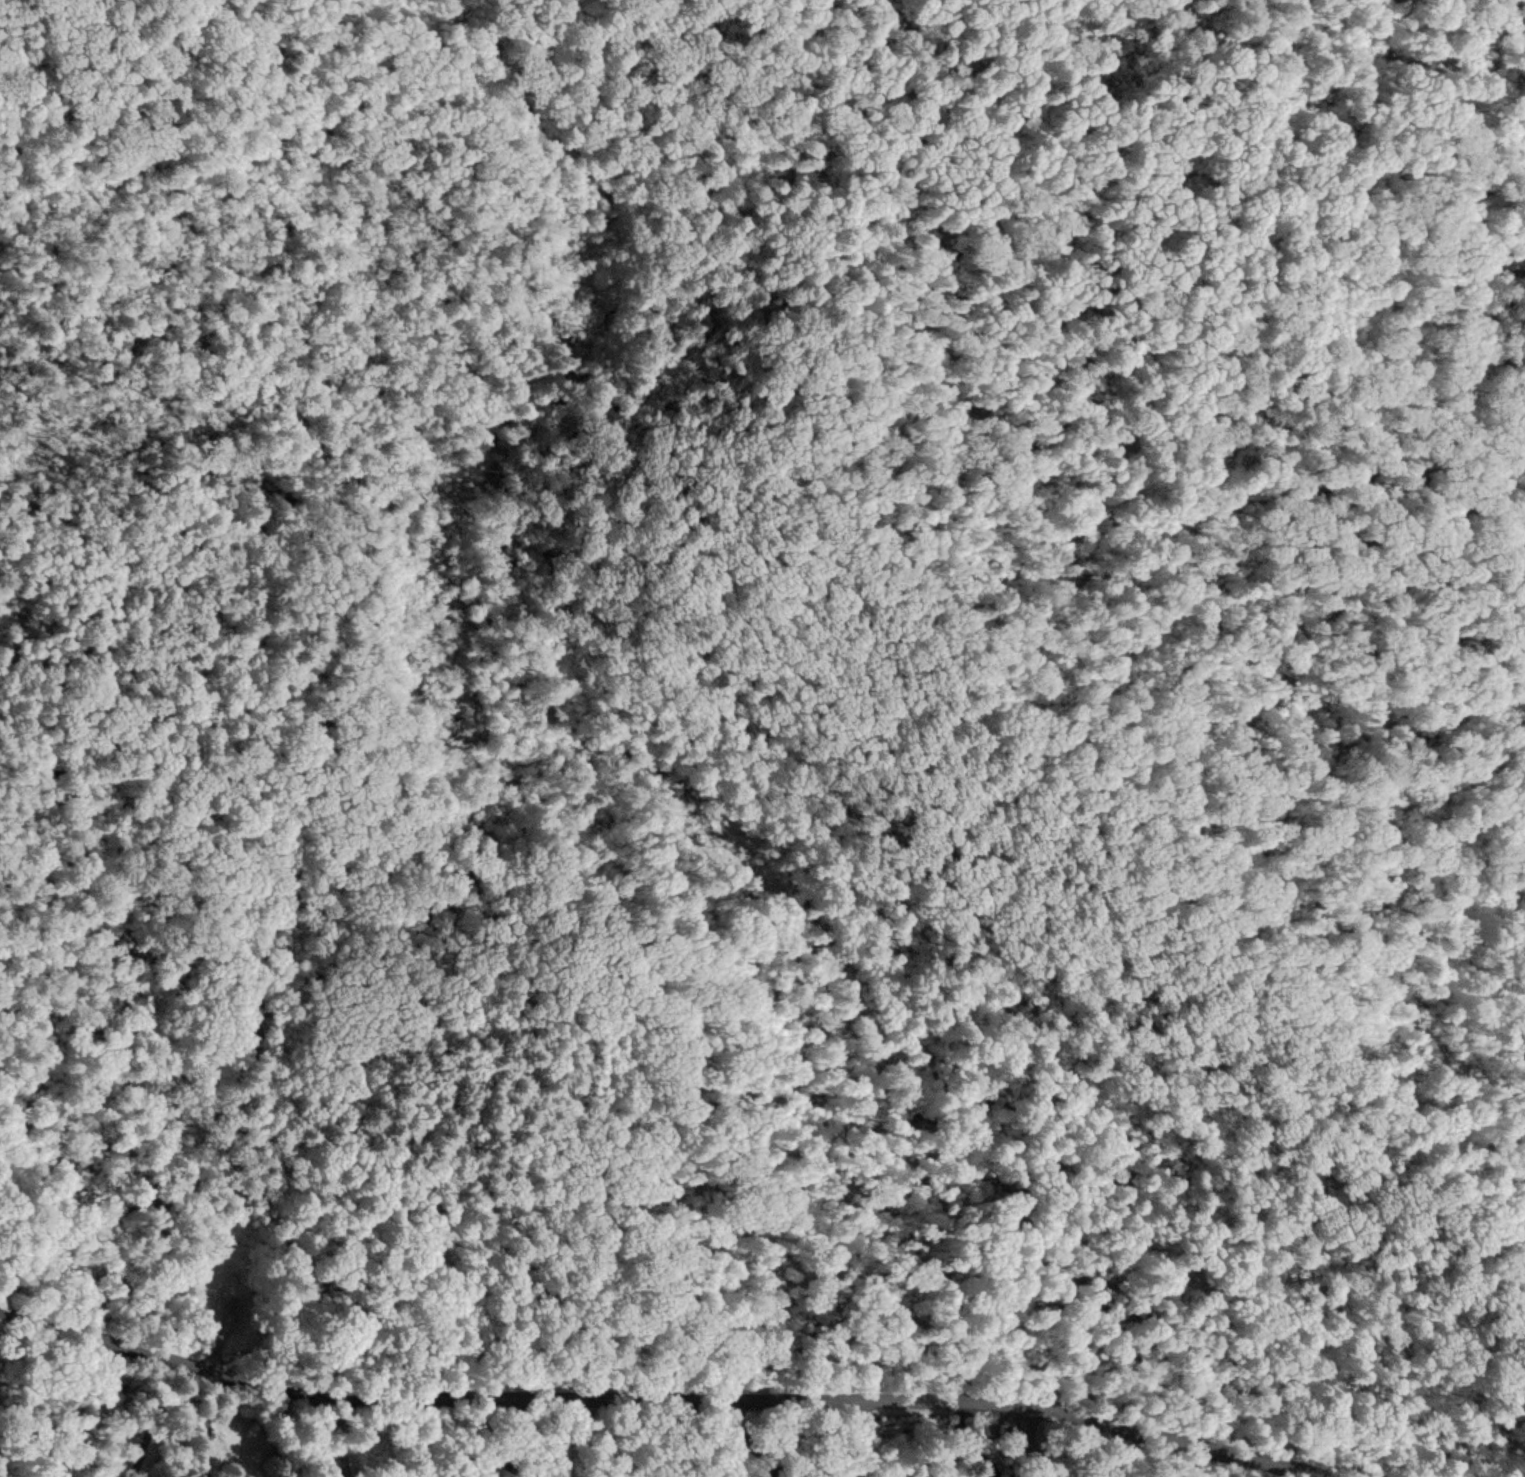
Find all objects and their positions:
road: (750, 9)
road: (237, 92)
road: (387, 302)
road: (361, 590)
road: (918, 980)
road: (661, 1393)
road: (1031, 1444)

